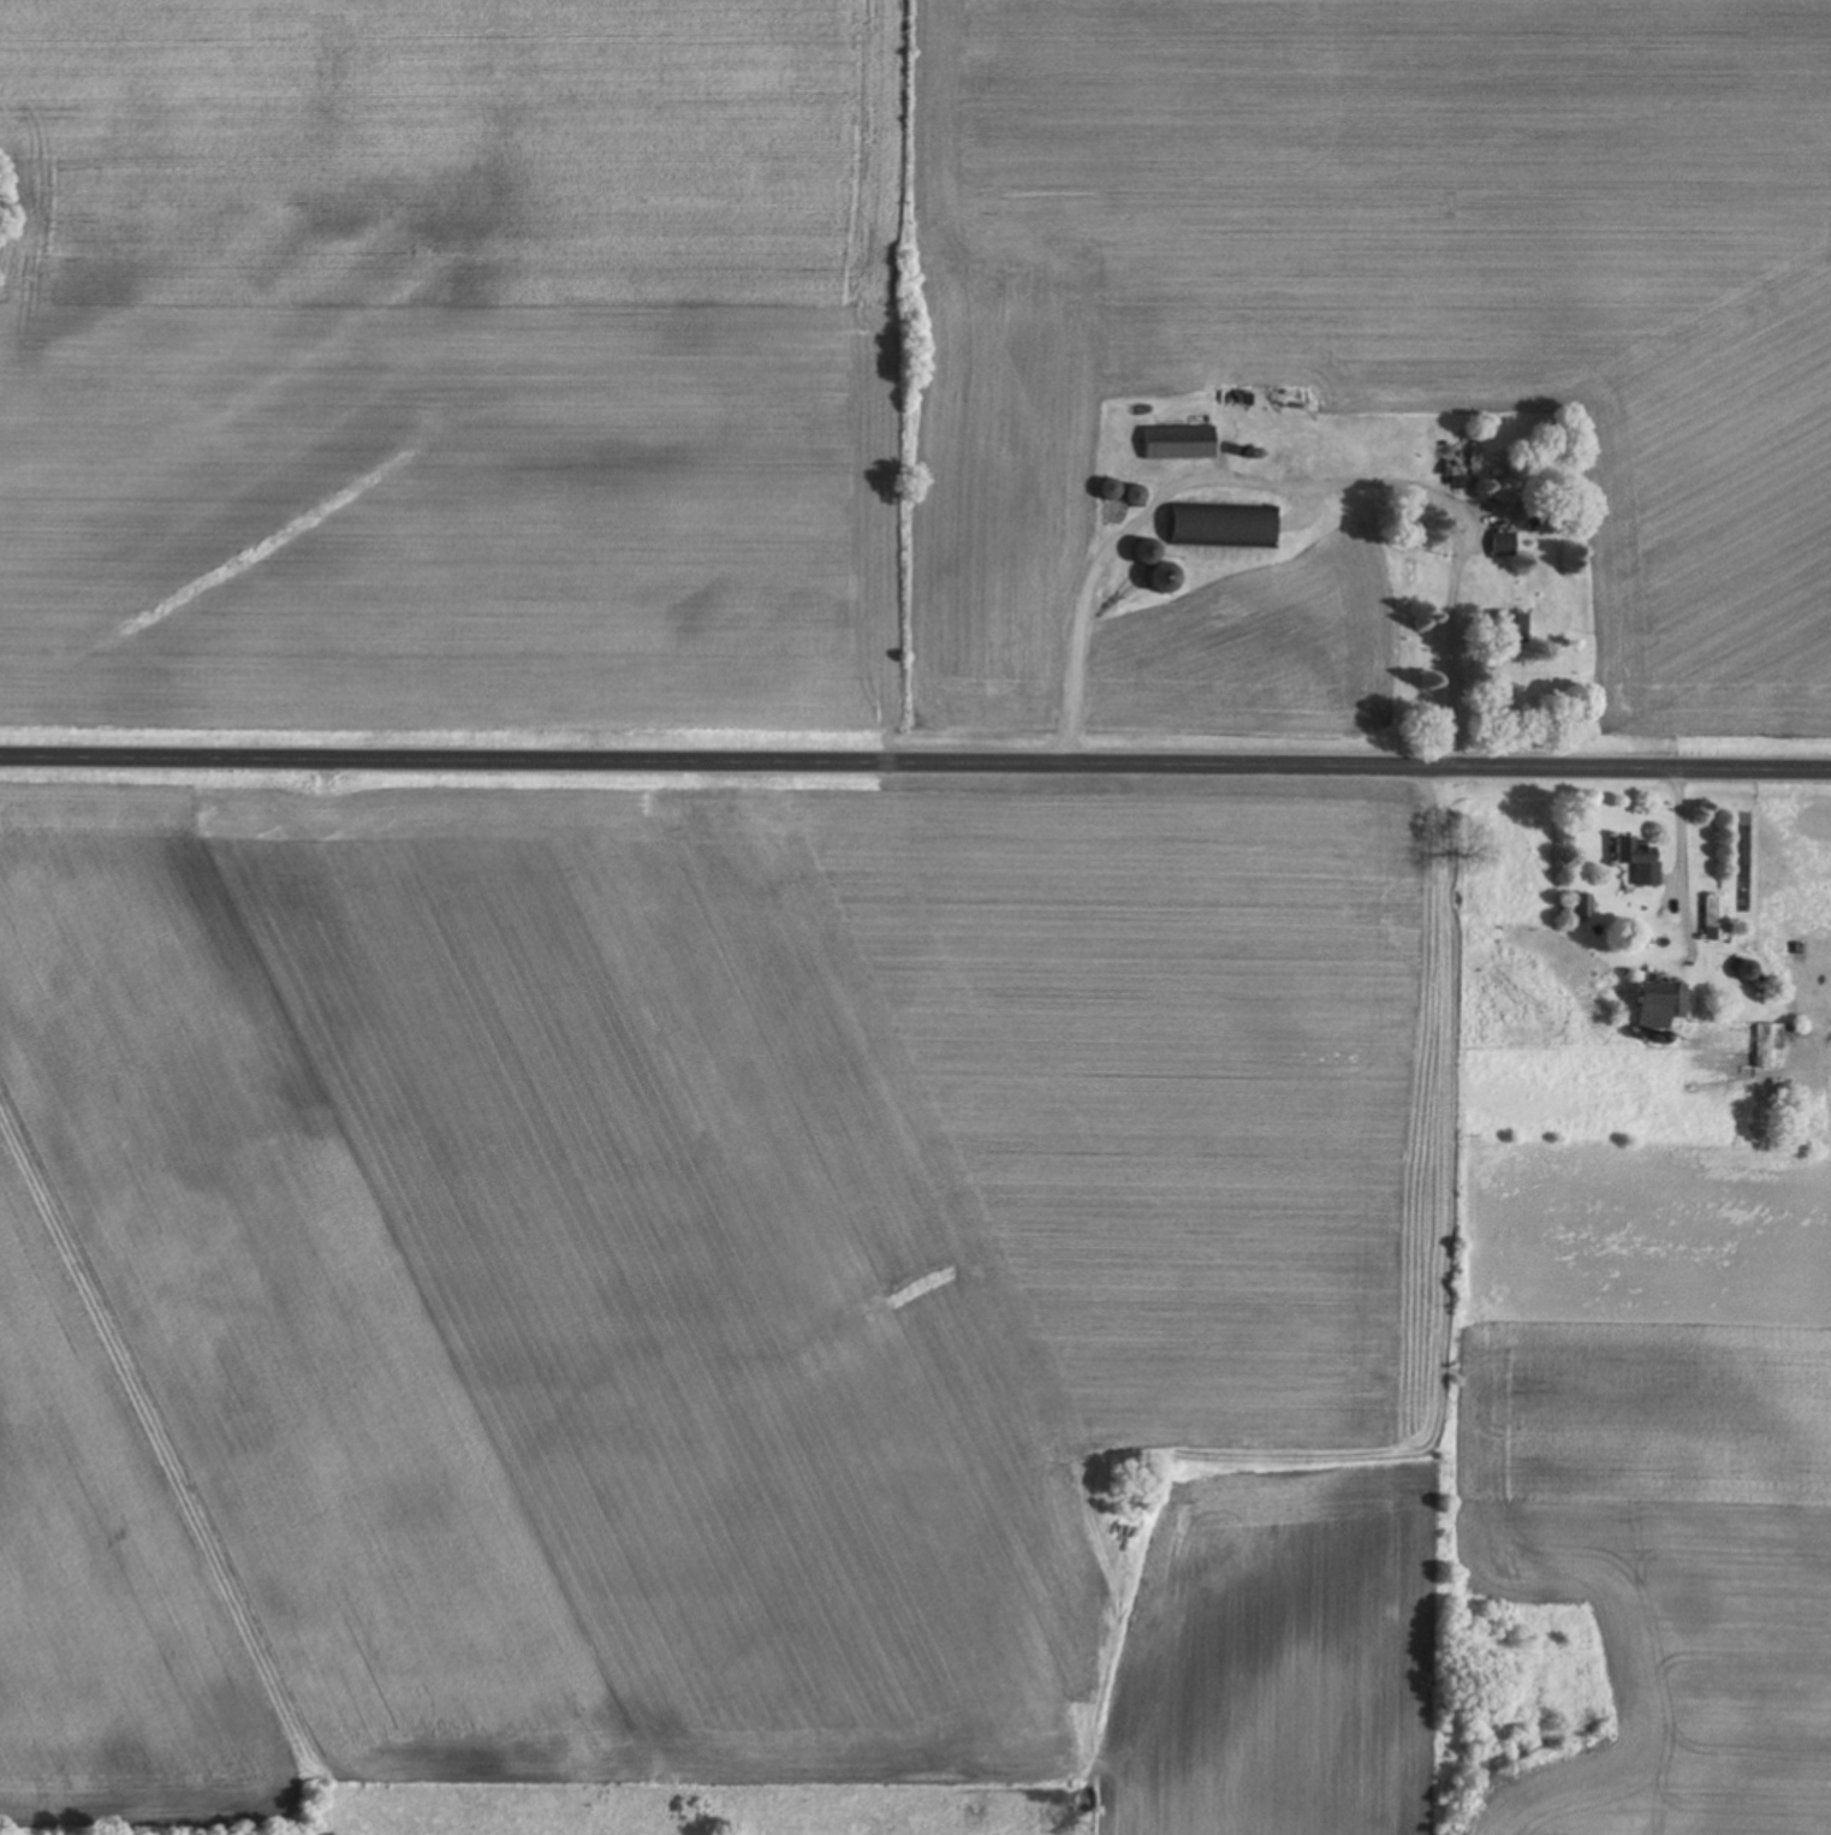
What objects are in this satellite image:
building: (1182, 444)
building: (1202, 524)
building: (1502, 546)
road: (915, 768)
building: (1641, 860)
building: (1716, 920)
building: (1748, 972)
building: (1663, 1005)
building: (1770, 1047)

